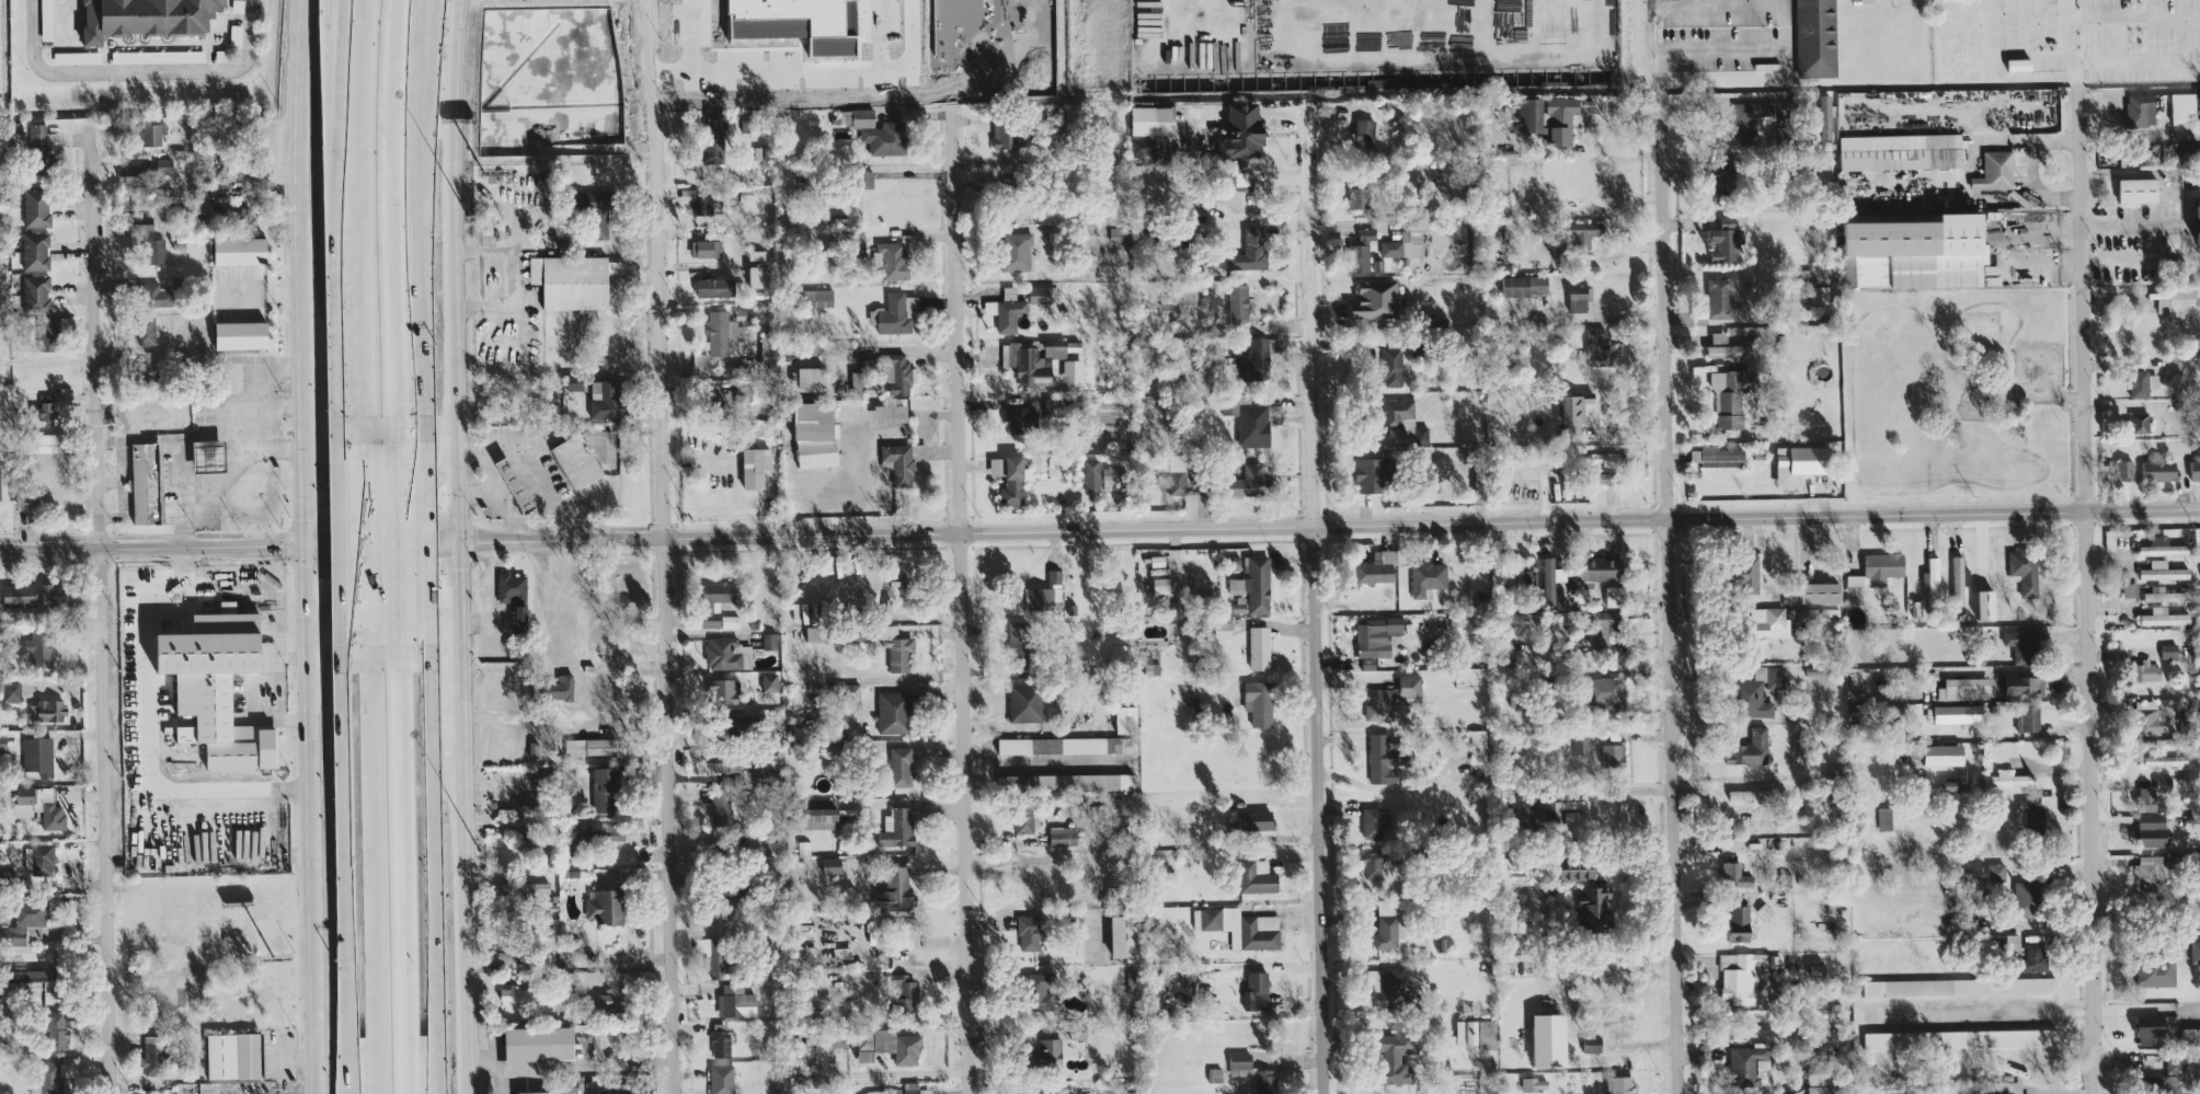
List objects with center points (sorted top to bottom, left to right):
road: (1757, 1)
building: (146, 18)
road: (2132, 19)
building: (46, 20)
building: (236, 35)
building: (1817, 38)
road: (2020, 51)
building: (158, 56)
building: (77, 57)
road: (2099, 62)
road: (137, 71)
road: (344, 87)
road: (355, 87)
road: (1708, 101)
road: (298, 102)
building: (2182, 105)
building: (2139, 111)
building: (1532, 114)
building: (1826, 116)
building: (1154, 119)
building: (1561, 119)
building: (1750, 120)
building: (1242, 131)
building: (1364, 133)
building: (151, 134)
building: (880, 134)
road: (2134, 134)
building: (1004, 135)
building: (715, 136)
building: (41, 137)
road: (386, 141)
road: (408, 141)
building: (1144, 148)
building: (1902, 151)
building: (164, 165)
building: (1996, 170)
building: (133, 176)
building: (1240, 179)
building: (2139, 189)
building: (1357, 197)
building: (697, 200)
building: (36, 207)
building: (595, 210)
building: (1199, 211)
building: (145, 222)
road: (2123, 224)
building: (1120, 233)
building: (1584, 234)
building: (1726, 239)
building: (1403, 244)
building: (708, 247)
building: (240, 249)
building: (35, 250)
building: (156, 250)
building: (1250, 250)
building: (1016, 251)
building: (1361, 251)
building: (1915, 251)
building: (892, 258)
building: (759, 275)
road: (523, 277)
building: (571, 280)
building: (1524, 283)
building: (715, 286)
road: (303, 291)
building: (36, 292)
building: (157, 293)
building: (1040, 293)
building: (1579, 296)
building: (1720, 298)
building: (814, 299)
building: (1376, 300)
building: (1239, 302)
road: (355, 309)
building: (894, 312)
road: (457, 318)
road: (1597, 318)
building: (146, 329)
building: (718, 332)
building: (47, 333)
building: (241, 334)
building: (1728, 347)
building: (1600, 348)
building: (769, 350)
building: (1032, 359)
building: (1253, 360)
road: (390, 364)
building: (1391, 366)
building: (1073, 369)
building: (897, 373)
building: (812, 376)
building: (857, 379)
building: (574, 380)
building: (2143, 382)
road: (271, 383)
building: (606, 398)
building: (1732, 398)
building: (1573, 407)
building: (46, 408)
building: (891, 412)
road: (266, 417)
road: (307, 419)
building: (1250, 421)
building: (1403, 421)
building: (2141, 423)
building: (816, 434)
road: (177, 438)
building: (46, 441)
building: (919, 451)
building: (208, 454)
building: (1718, 456)
building: (576, 460)
building: (898, 462)
building: (1801, 462)
road: (530, 465)
building: (755, 465)
building: (2158, 468)
building: (2125, 469)
building: (2195, 469)
building: (1175, 470)
building: (1091, 474)
building: (1372, 474)
road: (125, 476)
building: (1011, 476)
building: (1109, 477)
road: (230, 479)
building: (1249, 480)
building: (146, 482)
building: (515, 483)
building: (0, 484)
road: (387, 490)
road: (474, 491)
road: (493, 496)
building: (27, 498)
road: (126, 511)
road: (1100, 528)
road: (363, 537)
road: (392, 537)
traffic signals: (463, 540)
traffic signals: (310, 542)
road: (664, 546)
building: (2165, 549)
building: (1377, 567)
building: (1602, 568)
building: (1879, 568)
building: (2025, 569)
building: (2163, 571)
building: (1506, 573)
building: (1746, 573)
building: (1428, 576)
building: (1551, 578)
building: (1958, 579)
building: (1933, 580)
building: (1164, 584)
building: (1254, 584)
road: (391, 588)
building: (2131, 589)
road: (2087, 590)
building: (1044, 591)
building: (1822, 591)
building: (54, 594)
building: (514, 594)
building: (2164, 594)
building: (19, 595)
road: (1316, 595)
building: (1616, 595)
road: (1665, 595)
road: (962, 600)
building: (718, 604)
building: (2166, 617)
road: (96, 621)
building: (1769, 621)
building: (1604, 626)
building: (1223, 629)
building: (818, 633)
building: (1377, 635)
building: (1020, 636)
building: (769, 640)
building: (882, 643)
building: (2023, 644)
building: (1260, 646)
building: (39, 647)
building: (1118, 650)
building: (2169, 650)
building: (1368, 663)
building: (1151, 668)
building: (2147, 670)
road: (460, 672)
building: (770, 681)
building: (2026, 684)
building: (218, 686)
building: (561, 687)
building: (1966, 688)
building: (10, 689)
building: (1758, 690)
building: (722, 691)
building: (1606, 691)
building: (1391, 696)
building: (1027, 702)
building: (1259, 702)
building: (1062, 706)
building: (47, 710)
building: (895, 711)
building: (1957, 713)
building: (2149, 716)
building: (2029, 717)
building: (1126, 718)
building: (737, 725)
road: (146, 729)
building: (2, 742)
building: (1581, 742)
building: (1066, 745)
building: (1478, 745)
building: (592, 746)
building: (534, 748)
building: (1751, 748)
building: (1945, 753)
building: (37, 755)
building: (1614, 756)
building: (1380, 759)
building: (2166, 759)
road: (394, 764)
building: (901, 764)
building: (729, 765)
road: (370, 773)
road: (312, 776)
building: (2009, 779)
building: (1080, 782)
building: (605, 788)
road: (1393, 788)
building: (1751, 794)
building: (41, 805)
building: (721, 808)
building: (2033, 809)
building: (1548, 810)
building: (821, 813)
building: (1024, 817)
building: (1886, 818)
building: (1254, 819)
building: (1373, 821)
building: (897, 827)
building: (2153, 830)
building: (616, 831)
building: (1063, 836)
building: (2, 851)
building: (43, 859)
building: (1374, 864)
building: (832, 865)
building: (1579, 867)
building: (2150, 871)
building: (1997, 872)
building: (1735, 874)
building: (1257, 876)
building: (525, 887)
building: (895, 888)
building: (2029, 896)
road: (465, 901)
building: (605, 906)
building: (1594, 907)
building: (23, 922)
building: (1740, 922)
building: (1387, 925)
building: (1240, 926)
building: (1030, 932)
building: (1125, 936)
building: (2014, 942)
building: (2196, 951)
building: (713, 954)
building: (509, 956)
building: (2036, 956)
building: (1817, 970)
building: (2156, 972)
building: (32, 975)
building: (1744, 976)
building: (1388, 986)
building: (1960, 986)
building: (1256, 989)
building: (1039, 990)
building: (518, 993)
building: (904, 994)
building: (611, 995)
road: (397, 997)
road: (425, 999)
building: (736, 1000)
road: (370, 1005)
road: (377, 1005)
road: (2147, 1009)
road: (1998, 1010)
building: (1622, 1026)
building: (2152, 1028)
building: (56, 1029)
building: (1476, 1030)
building: (2190, 1035)
building: (835, 1037)
building: (721, 1038)
building: (1961, 1038)
building: (1550, 1039)
building: (1593, 1043)
building: (537, 1045)
building: (887, 1045)
building: (1046, 1053)
building: (1397, 1053)
building: (152, 1055)
building: (233, 1055)
building: (1749, 1064)
building: (1254, 1073)
building: (1215, 1074)
building: (53, 1076)
building: (2167, 1078)
building: (722, 1079)
building: (1534, 1083)
building: (1619, 1084)
building: (2012, 1085)
building: (915, 1089)
building: (1134, 1090)
building: (1811, 1090)
building: (535, 1092)
building: (1042, 1092)

